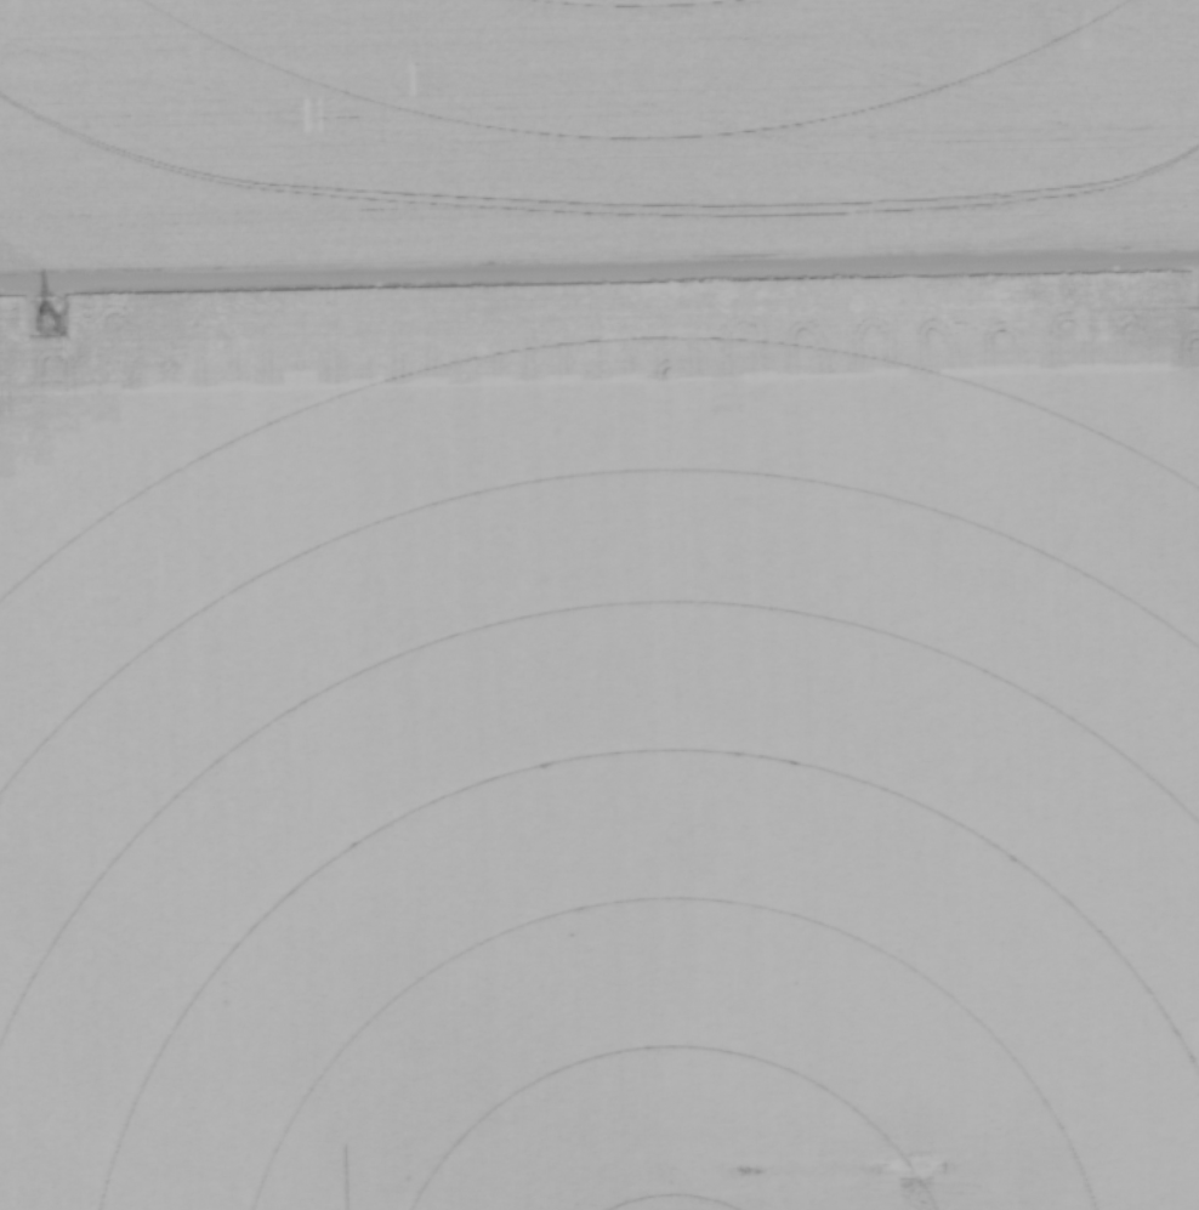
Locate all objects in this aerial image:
road: (598, 269)
power tower: (42, 326)

